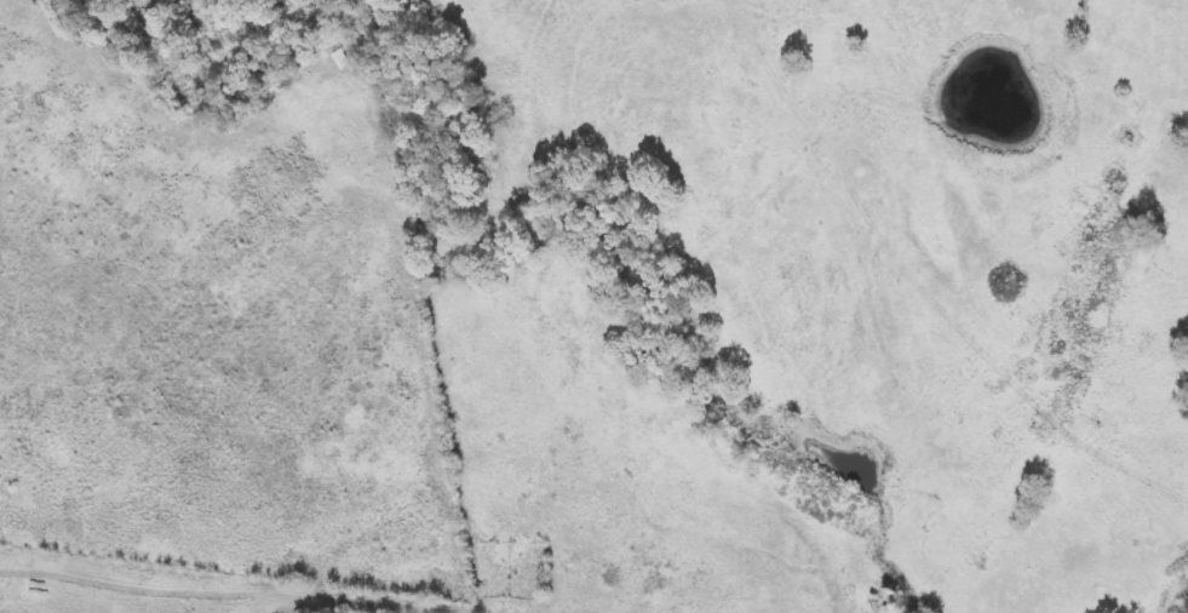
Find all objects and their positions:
road: (23, 28)
building: (356, 47)

